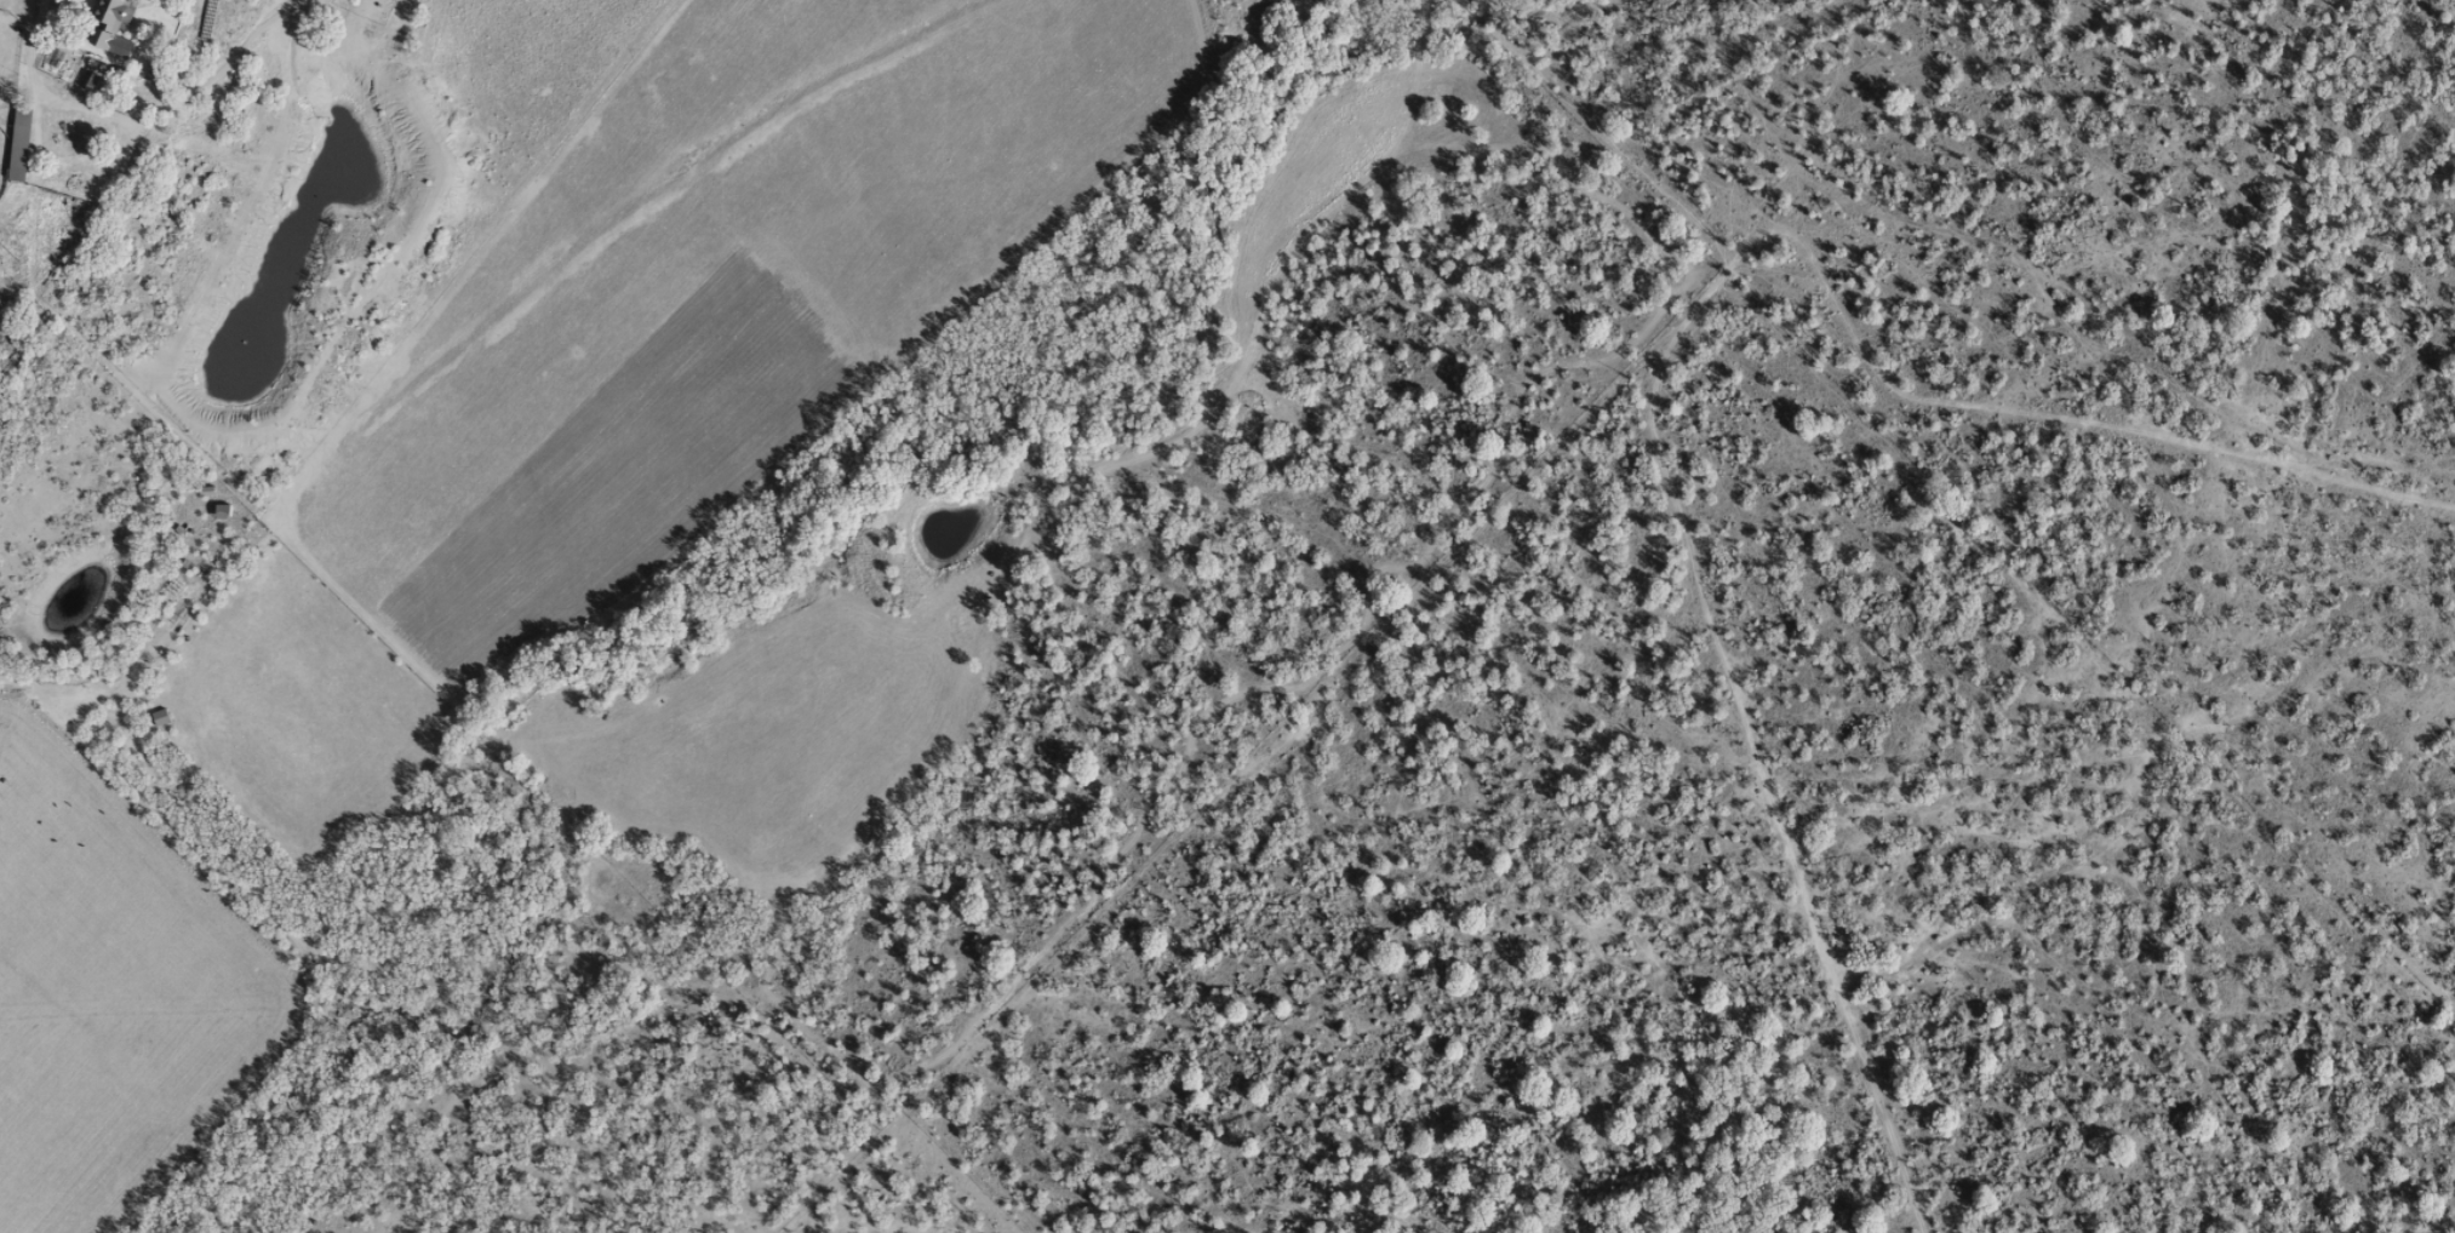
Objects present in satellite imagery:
building: (107, 27)
building: (15, 144)
road: (132, 196)
building: (156, 717)

